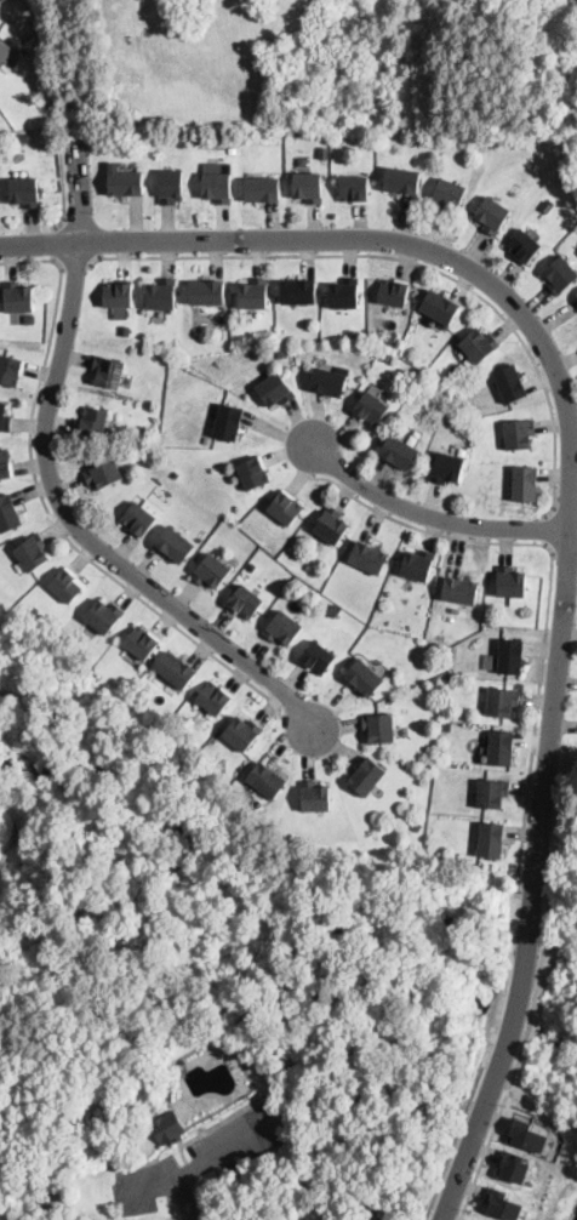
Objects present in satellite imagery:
building: (1, 0)
building: (4, 51)
building: (355, 135)
building: (22, 138)
building: (233, 152)
building: (322, 154)
building: (401, 181)
building: (126, 183)
building: (171, 186)
building: (217, 188)
building: (309, 188)
road: (62, 189)
building: (262, 189)
building: (354, 189)
building: (24, 192)
building: (449, 195)
building: (547, 205)
building: (492, 215)
road: (57, 241)
building: (522, 245)
road: (412, 261)
road: (75, 266)
building: (560, 274)
building: (298, 292)
building: (393, 292)
building: (207, 293)
building: (343, 293)
building: (118, 295)
building: (160, 295)
building: (253, 295)
building: (17, 297)
building: (440, 307)
building: (126, 332)
building: (392, 338)
building: (479, 344)
building: (282, 353)
building: (388, 355)
building: (10, 370)
building: (108, 371)
building: (329, 381)
building: (510, 383)
building: (275, 389)
building: (370, 409)
building: (4, 417)
building: (95, 422)
building: (229, 422)
building: (519, 434)
building: (399, 452)
building: (5, 464)
building: (447, 468)
building: (253, 472)
building: (104, 474)
building: (524, 484)
road: (57, 492)
road: (572, 495)
building: (286, 507)
road: (48, 511)
building: (8, 514)
road: (433, 515)
building: (142, 517)
building: (331, 525)
road: (548, 531)
building: (175, 545)
building: (32, 553)
building: (369, 558)
building: (417, 565)
building: (211, 571)
building: (67, 585)
building: (512, 585)
road: (550, 587)
building: (461, 591)
building: (245, 602)
building: (335, 611)
building: (104, 616)
building: (284, 628)
building: (142, 642)
building: (510, 656)
building: (319, 659)
building: (176, 671)
building: (364, 678)
building: (213, 697)
building: (502, 702)
building: (447, 725)
building: (379, 729)
building: (435, 731)
building: (241, 734)
building: (501, 747)
building: (366, 776)
building: (267, 780)
building: (492, 792)
building: (314, 797)
building: (416, 825)
building: (491, 839)
road: (535, 893)
road: (521, 1060)
building: (168, 1128)
building: (529, 1134)
road: (202, 1164)
building: (513, 1167)
road: (189, 1197)
road: (179, 1204)
building: (503, 1205)

